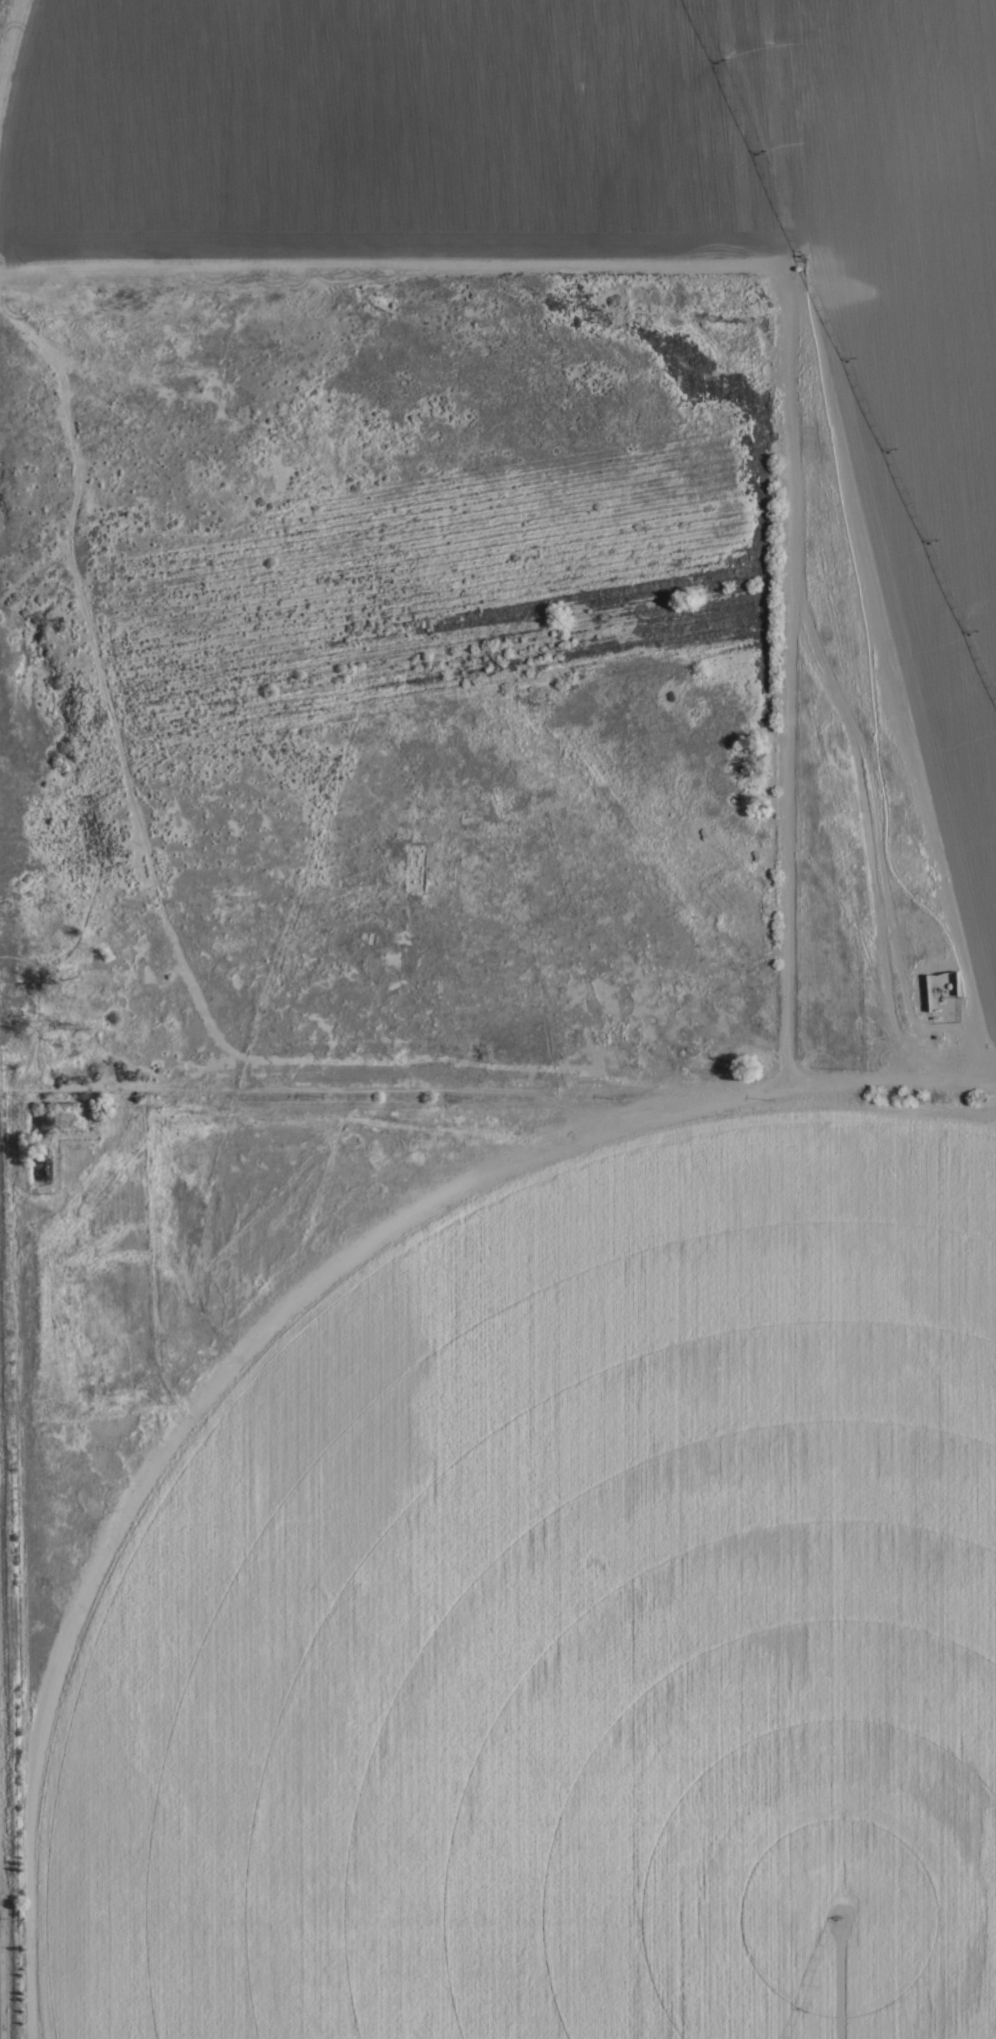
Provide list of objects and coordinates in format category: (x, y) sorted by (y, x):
building: (924, 992)
crop: (598, 1187)

